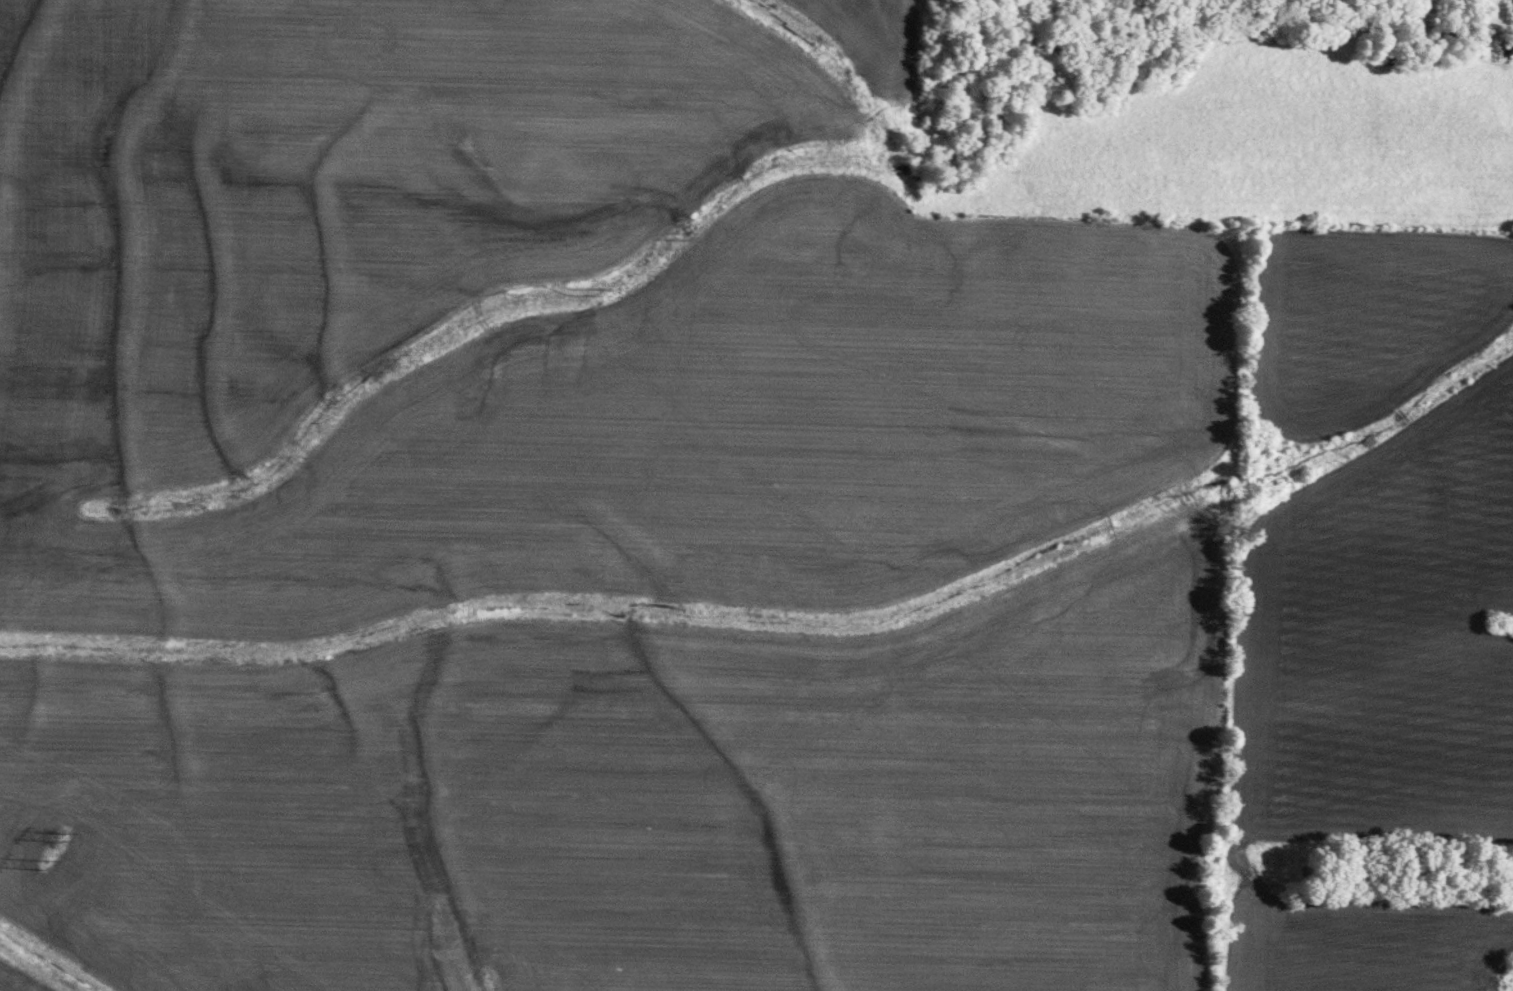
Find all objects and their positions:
power tower: (54, 838)
power tower: (48, 868)

